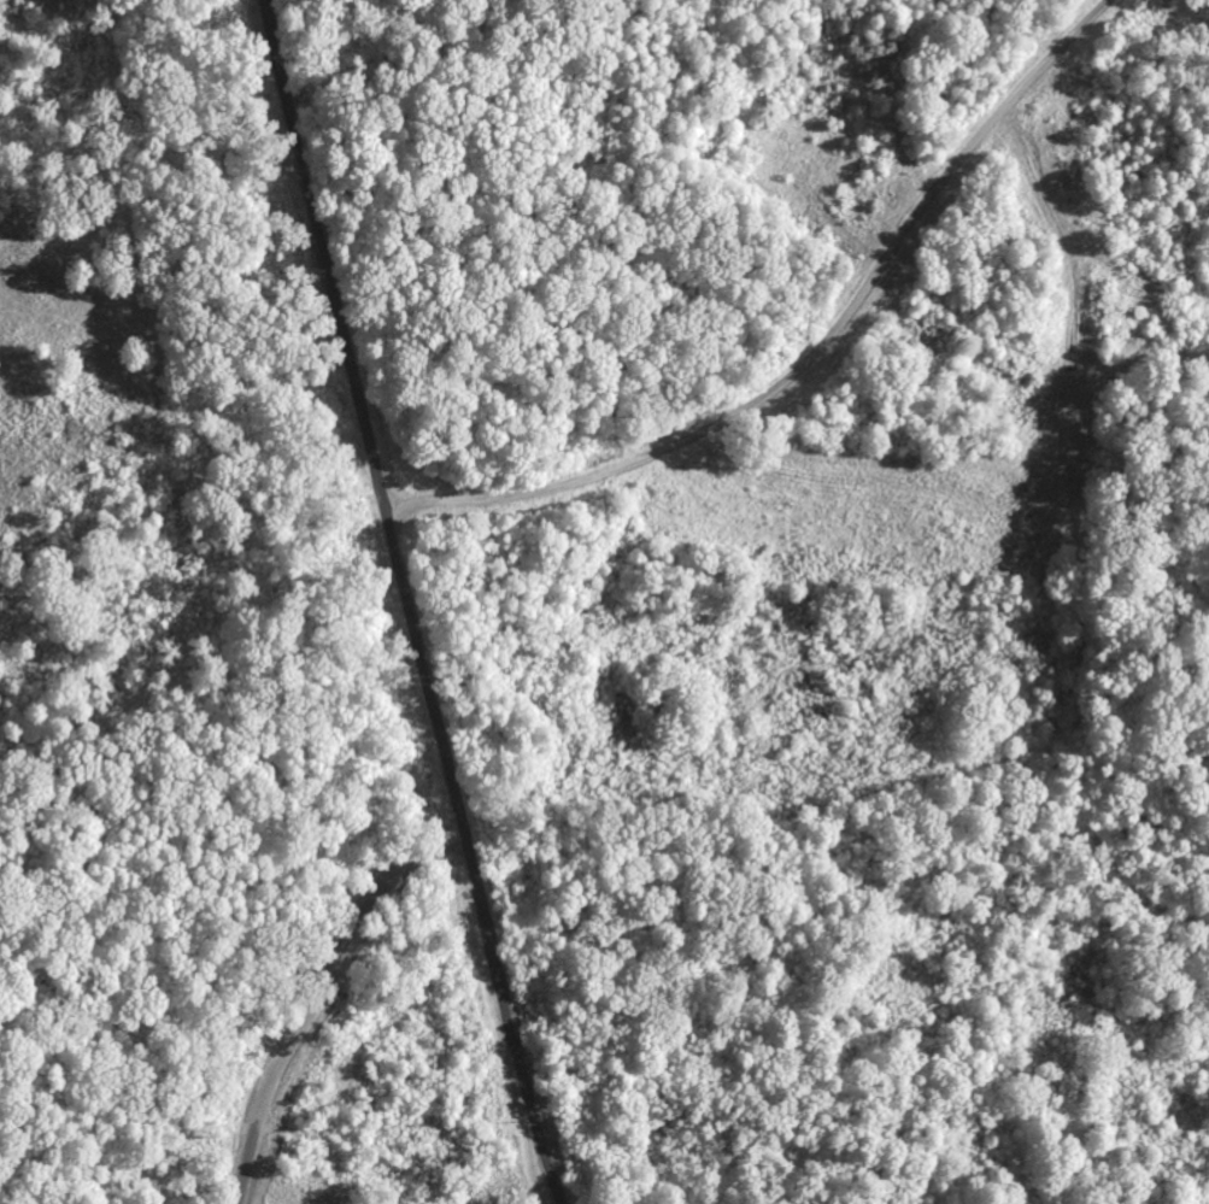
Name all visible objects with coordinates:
road: (548, 392)
road: (435, 809)

